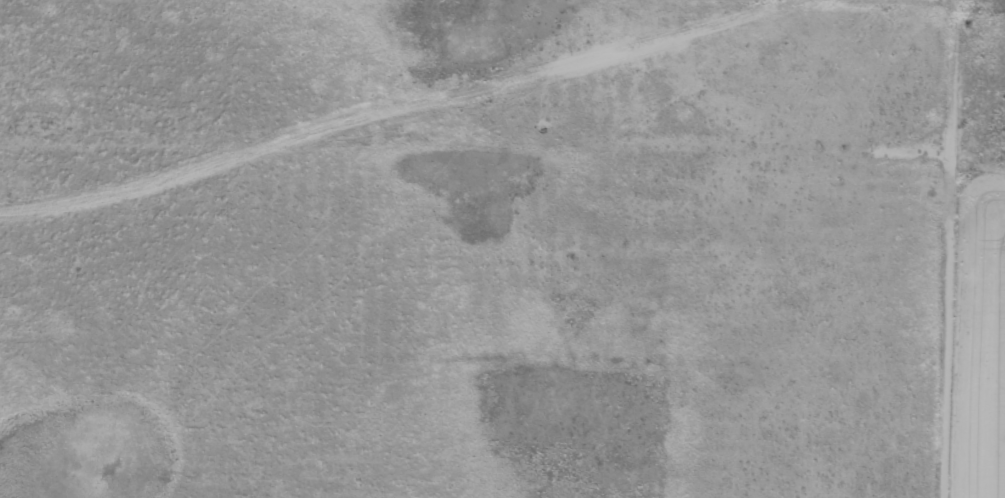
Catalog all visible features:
road: (610, 163)

